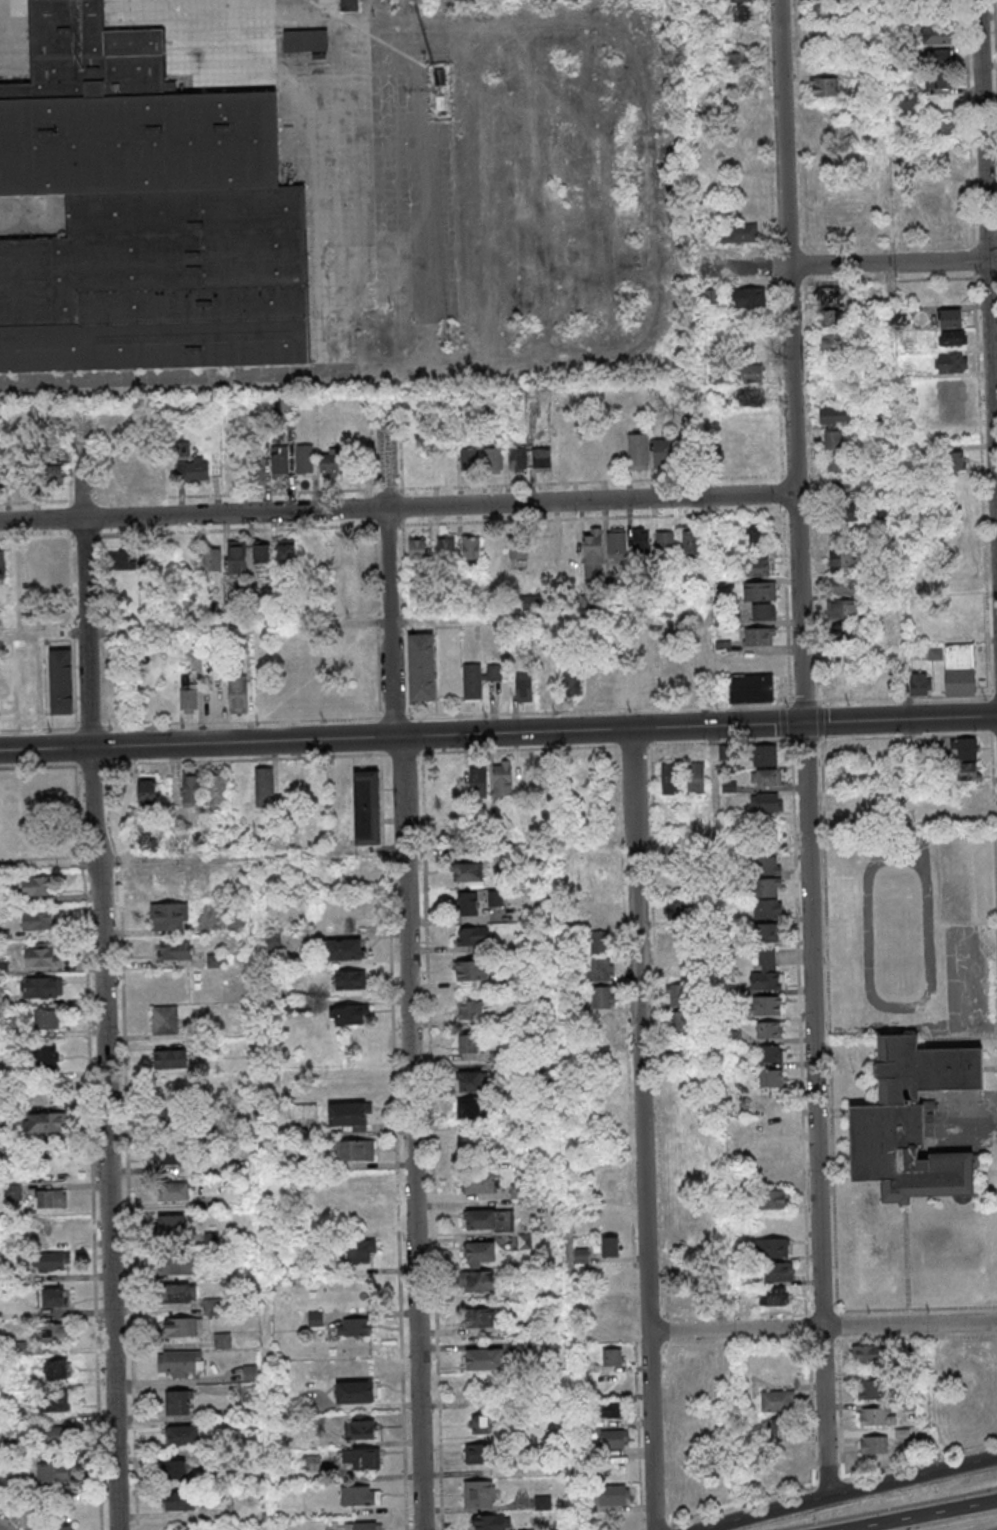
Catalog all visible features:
building: (937, 3)
building: (349, 5)
building: (820, 12)
building: (735, 14)
building: (936, 35)
building: (308, 45)
building: (739, 62)
building: (938, 70)
building: (824, 88)
road: (349, 89)
building: (909, 103)
building: (125, 121)
building: (943, 129)
building: (737, 233)
road: (988, 261)
road: (855, 264)
building: (160, 286)
road: (893, 291)
building: (828, 294)
building: (748, 297)
building: (832, 317)
building: (950, 320)
building: (950, 338)
building: (832, 343)
road: (791, 361)
building: (951, 364)
building: (952, 386)
building: (749, 398)
building: (834, 414)
building: (835, 439)
building: (639, 452)
building: (664, 454)
building: (517, 458)
building: (468, 459)
building: (280, 460)
building: (305, 460)
building: (494, 460)
building: (542, 461)
building: (953, 461)
building: (330, 463)
building: (837, 464)
building: (198, 469)
building: (256, 470)
building: (3, 476)
building: (52, 476)
building: (840, 487)
road: (591, 502)
building: (845, 513)
road: (193, 515)
building: (757, 534)
building: (665, 542)
building: (642, 543)
building: (518, 544)
building: (691, 544)
building: (617, 545)
building: (447, 547)
building: (418, 548)
building: (471, 550)
building: (286, 551)
building: (261, 553)
building: (594, 555)
building: (238, 557)
building: (122, 559)
building: (212, 559)
building: (837, 562)
building: (2, 564)
road: (389, 567)
building: (757, 567)
building: (844, 587)
building: (759, 591)
building: (842, 610)
building: (763, 612)
road: (378, 623)
building: (844, 635)
building: (759, 636)
building: (422, 667)
building: (960, 669)
building: (63, 681)
building: (473, 682)
building: (572, 683)
building: (643, 683)
building: (921, 684)
building: (525, 688)
building: (751, 689)
building: (238, 695)
building: (188, 696)
road: (498, 714)
road: (900, 719)
traffic signals: (804, 723)
road: (599, 730)
road: (242, 742)
road: (45, 749)
building: (765, 755)
building: (967, 761)
building: (695, 777)
building: (765, 778)
building: (502, 779)
building: (669, 779)
building: (479, 782)
building: (263, 785)
building: (191, 788)
building: (217, 789)
building: (147, 791)
building: (766, 802)
building: (366, 807)
building: (767, 834)
road: (407, 853)
building: (678, 854)
building: (767, 865)
building: (468, 872)
building: (166, 881)
building: (38, 886)
building: (767, 888)
building: (495, 898)
building: (468, 903)
building: (675, 909)
building: (767, 909)
building: (600, 911)
building: (169, 916)
building: (37, 920)
building: (768, 932)
building: (472, 936)
building: (680, 940)
building: (600, 942)
building: (347, 949)
building: (173, 950)
building: (40, 955)
road: (102, 969)
building: (602, 969)
building: (471, 970)
building: (767, 973)
building: (349, 980)
building: (41, 987)
building: (678, 995)
building: (603, 997)
building: (768, 1006)
building: (470, 1010)
building: (349, 1013)
building: (47, 1019)
building: (165, 1019)
building: (679, 1022)
building: (769, 1030)
building: (467, 1043)
building: (45, 1054)
building: (771, 1054)
building: (170, 1059)
building: (771, 1077)
building: (470, 1081)
building: (354, 1083)
building: (477, 1109)
road: (815, 1109)
building: (349, 1116)
building: (169, 1120)
building: (911, 1120)
building: (46, 1123)
road: (643, 1130)
road: (416, 1133)
building: (356, 1150)
building: (169, 1155)
building: (480, 1183)
road: (570, 1188)
building: (174, 1191)
road: (264, 1194)
building: (773, 1199)
building: (51, 1200)
building: (489, 1219)
building: (170, 1225)
building: (610, 1246)
building: (772, 1247)
building: (360, 1250)
building: (480, 1254)
building: (581, 1254)
building: (52, 1261)
building: (177, 1265)
building: (779, 1271)
building: (479, 1281)
building: (179, 1293)
building: (51, 1297)
building: (774, 1298)
building: (212, 1306)
building: (480, 1318)
building: (353, 1326)
road: (822, 1326)
building: (182, 1327)
building: (54, 1333)
building: (222, 1340)
building: (978, 1351)
building: (867, 1353)
building: (612, 1356)
building: (485, 1358)
building: (180, 1362)
building: (56, 1369)
building: (871, 1389)
building: (355, 1391)
building: (54, 1401)
building: (178, 1403)
building: (777, 1403)
building: (609, 1409)
building: (874, 1416)
building: (479, 1424)
building: (364, 1426)
building: (773, 1430)
building: (183, 1436)
building: (55, 1438)
building: (614, 1439)
building: (874, 1444)
building: (478, 1453)
building: (361, 1459)
building: (177, 1469)
building: (54, 1473)
road: (912, 1477)
building: (479, 1493)
building: (613, 1494)
building: (360, 1495)
building: (180, 1500)
road: (770, 1513)
road: (914, 1514)
building: (58, 1521)
building: (491, 1522)
building: (363, 1526)
road: (0, 1529)
building: (181, 1529)

